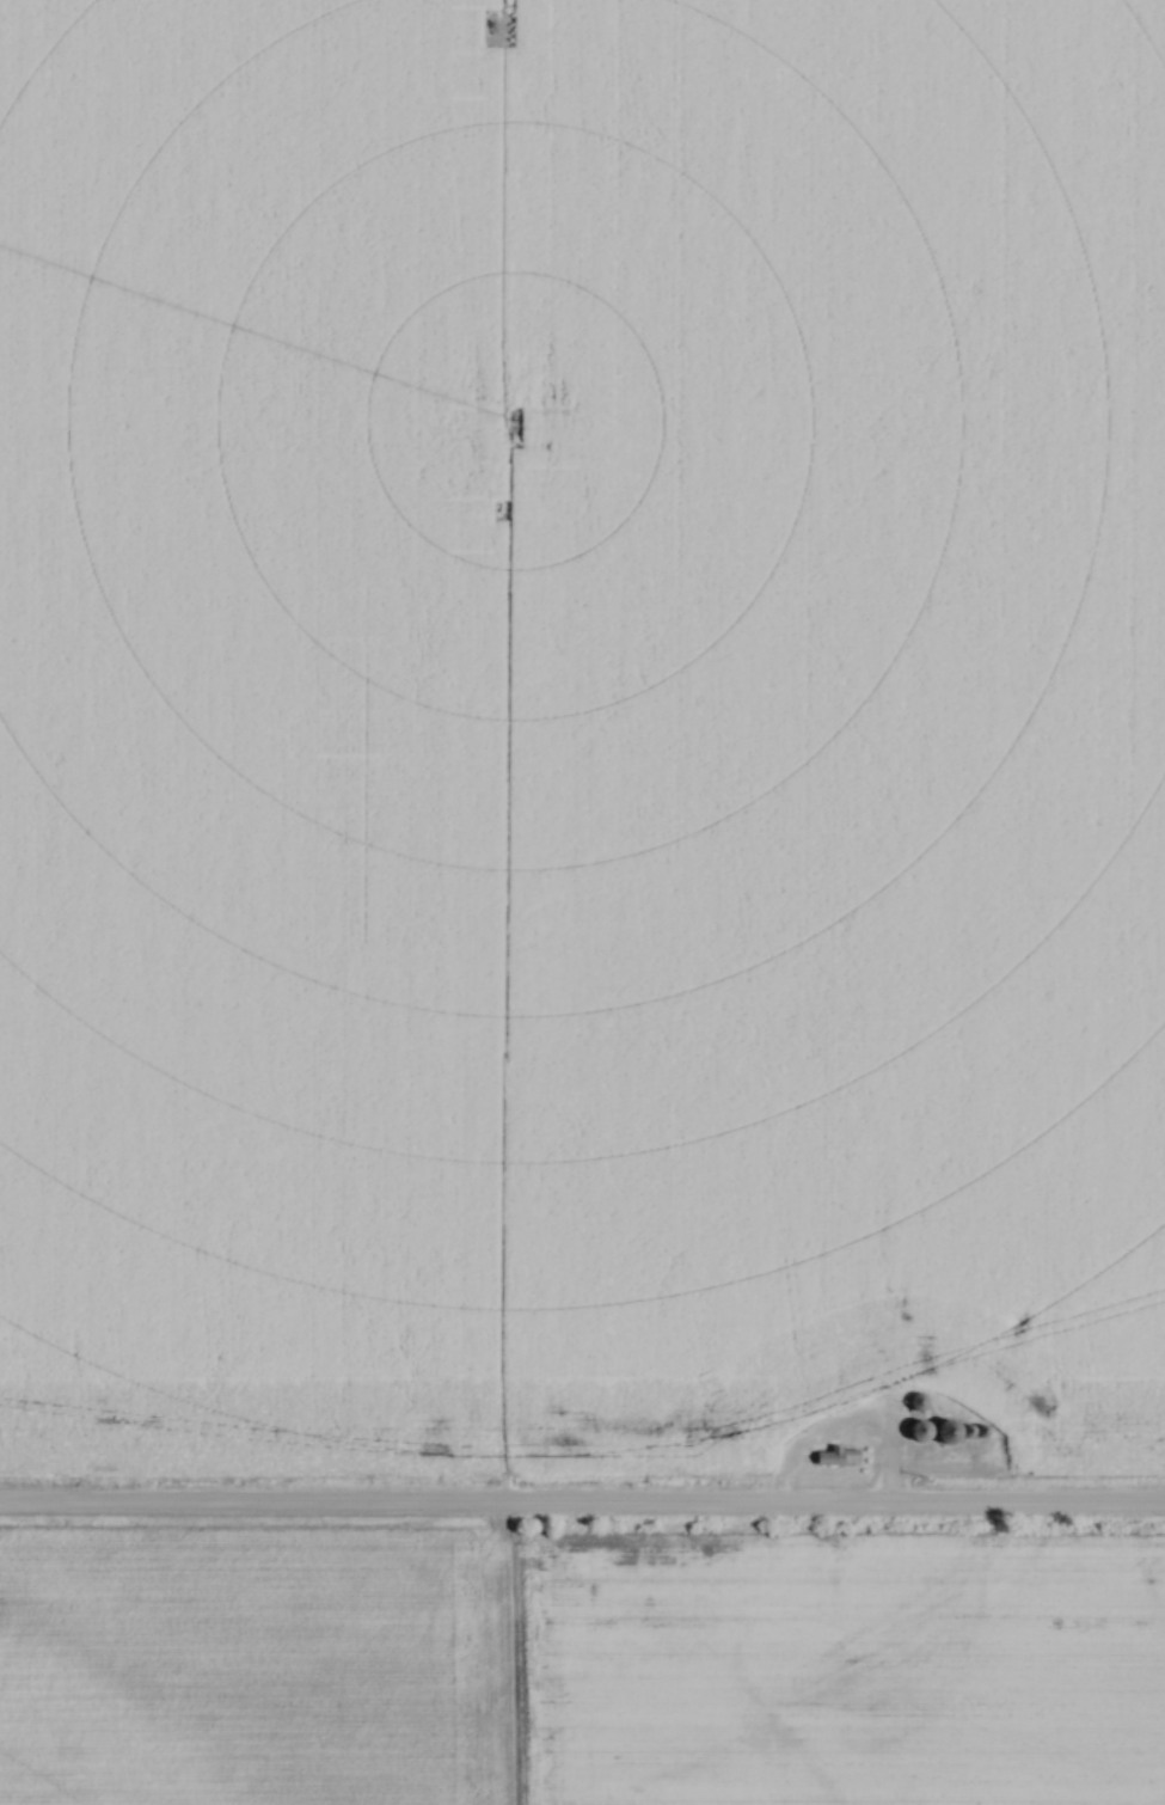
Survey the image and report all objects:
building: (915, 1401)
building: (915, 1431)
building: (944, 1432)
building: (826, 1456)
road: (582, 1511)

